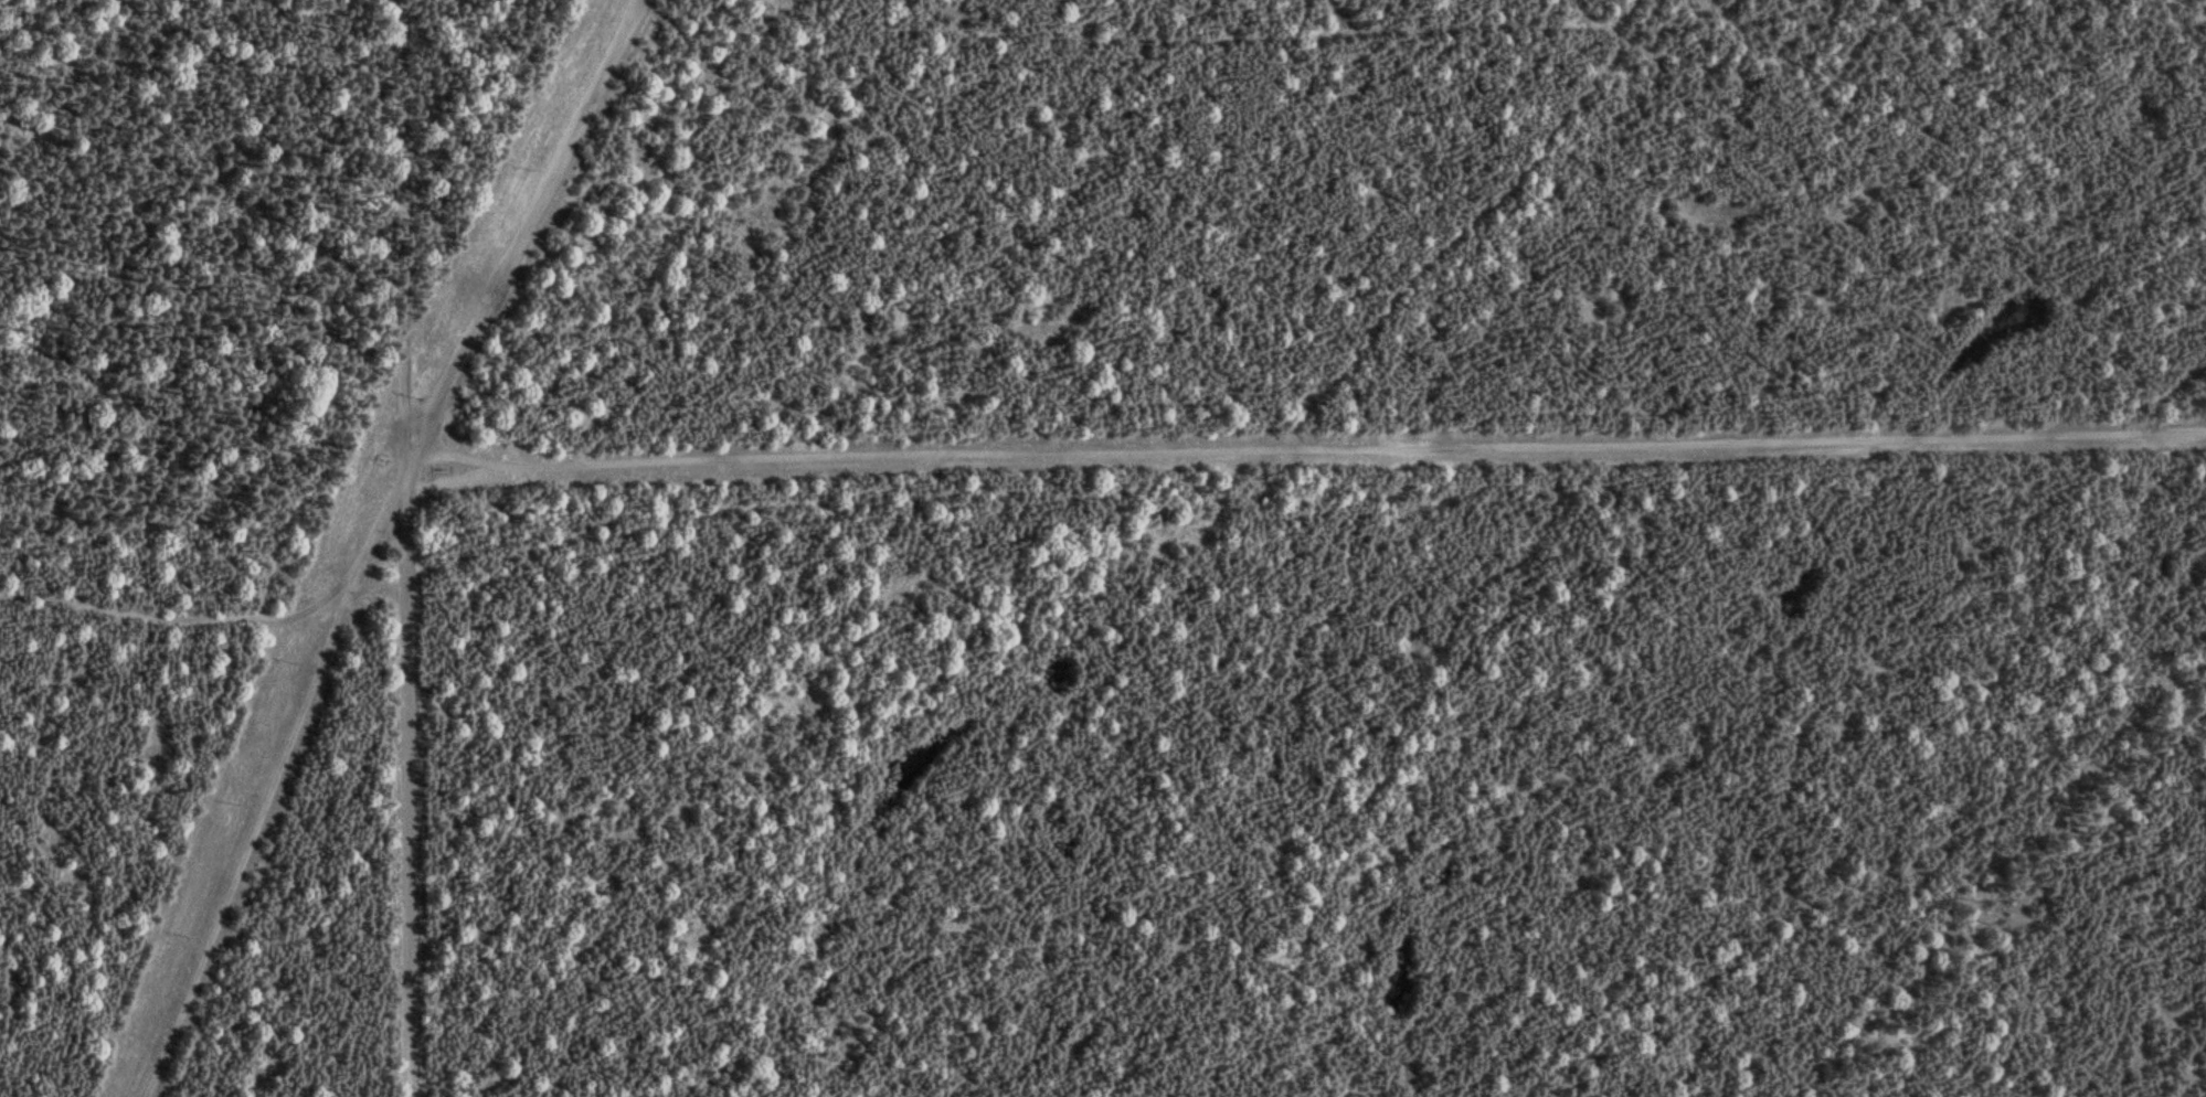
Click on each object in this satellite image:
road: (524, 239)
road: (1737, 435)
road: (887, 456)
road: (402, 547)
road: (241, 849)

